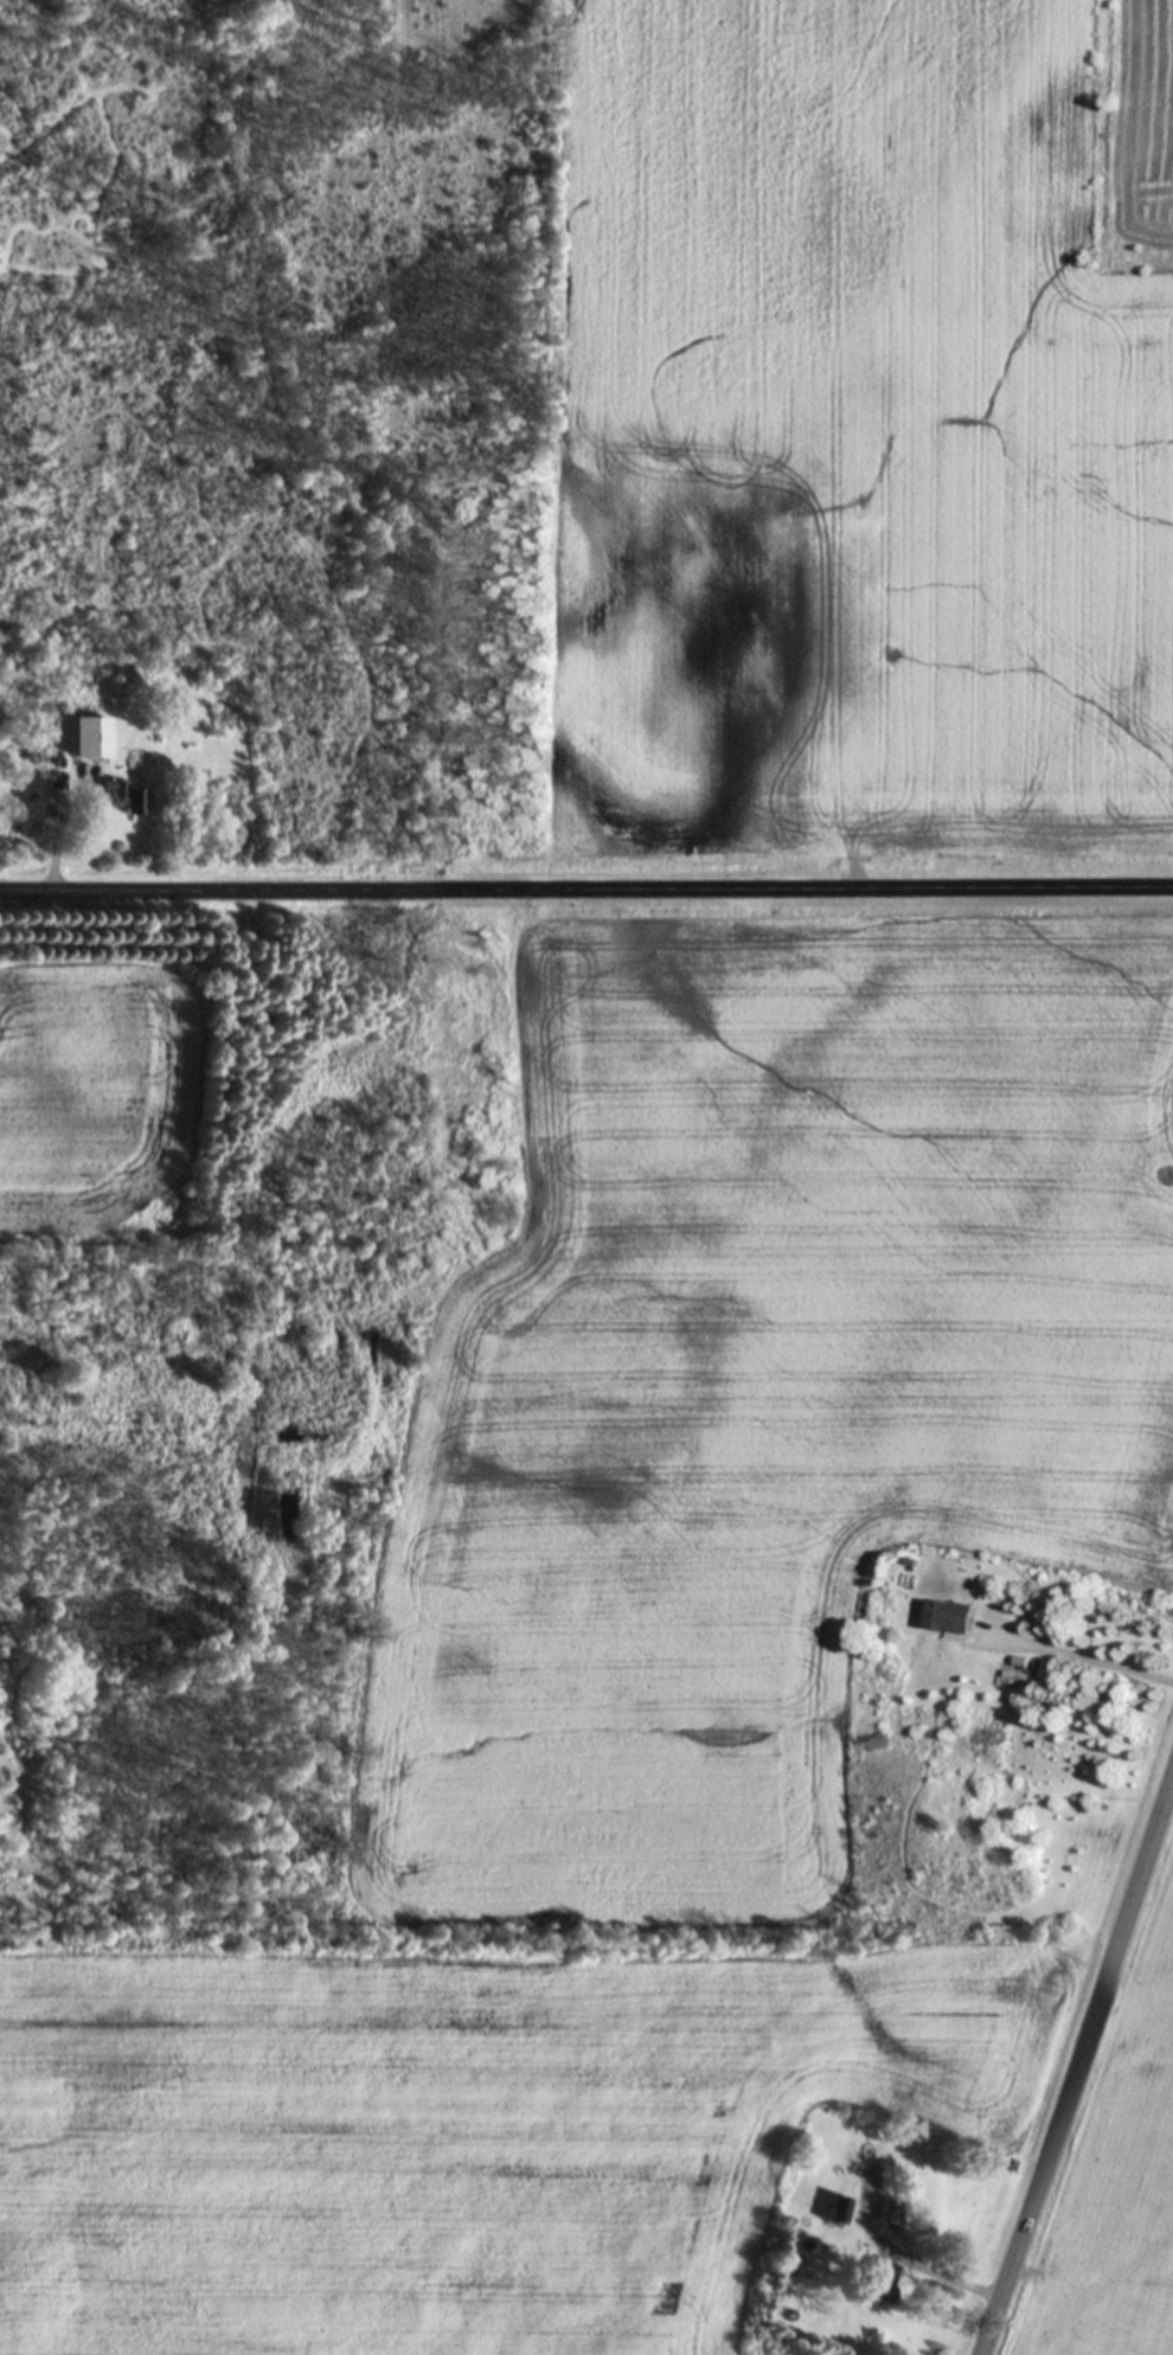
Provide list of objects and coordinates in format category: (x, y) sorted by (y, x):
building: (88, 737)
building: (121, 795)
road: (586, 885)
building: (949, 1616)
building: (874, 1741)
road: (1078, 2065)
building: (834, 2208)
building: (874, 2279)

